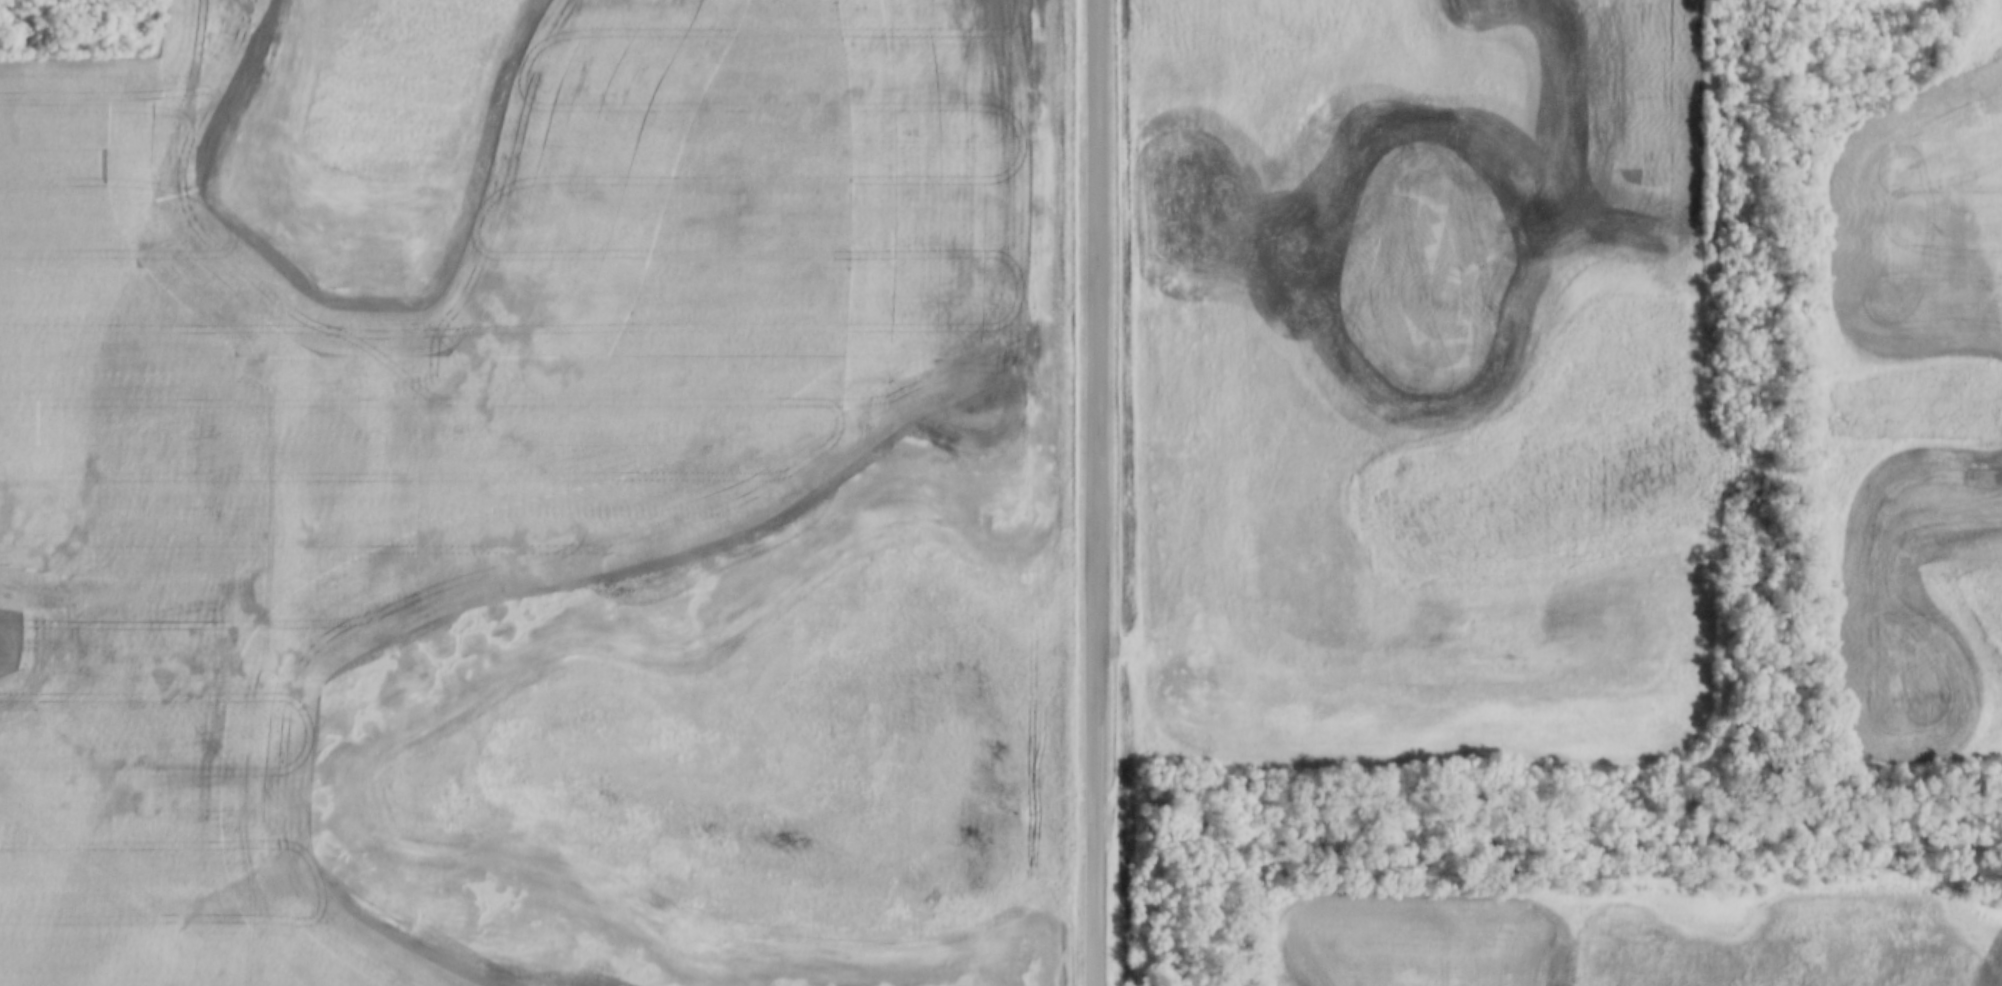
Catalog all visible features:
road: (1105, 493)

